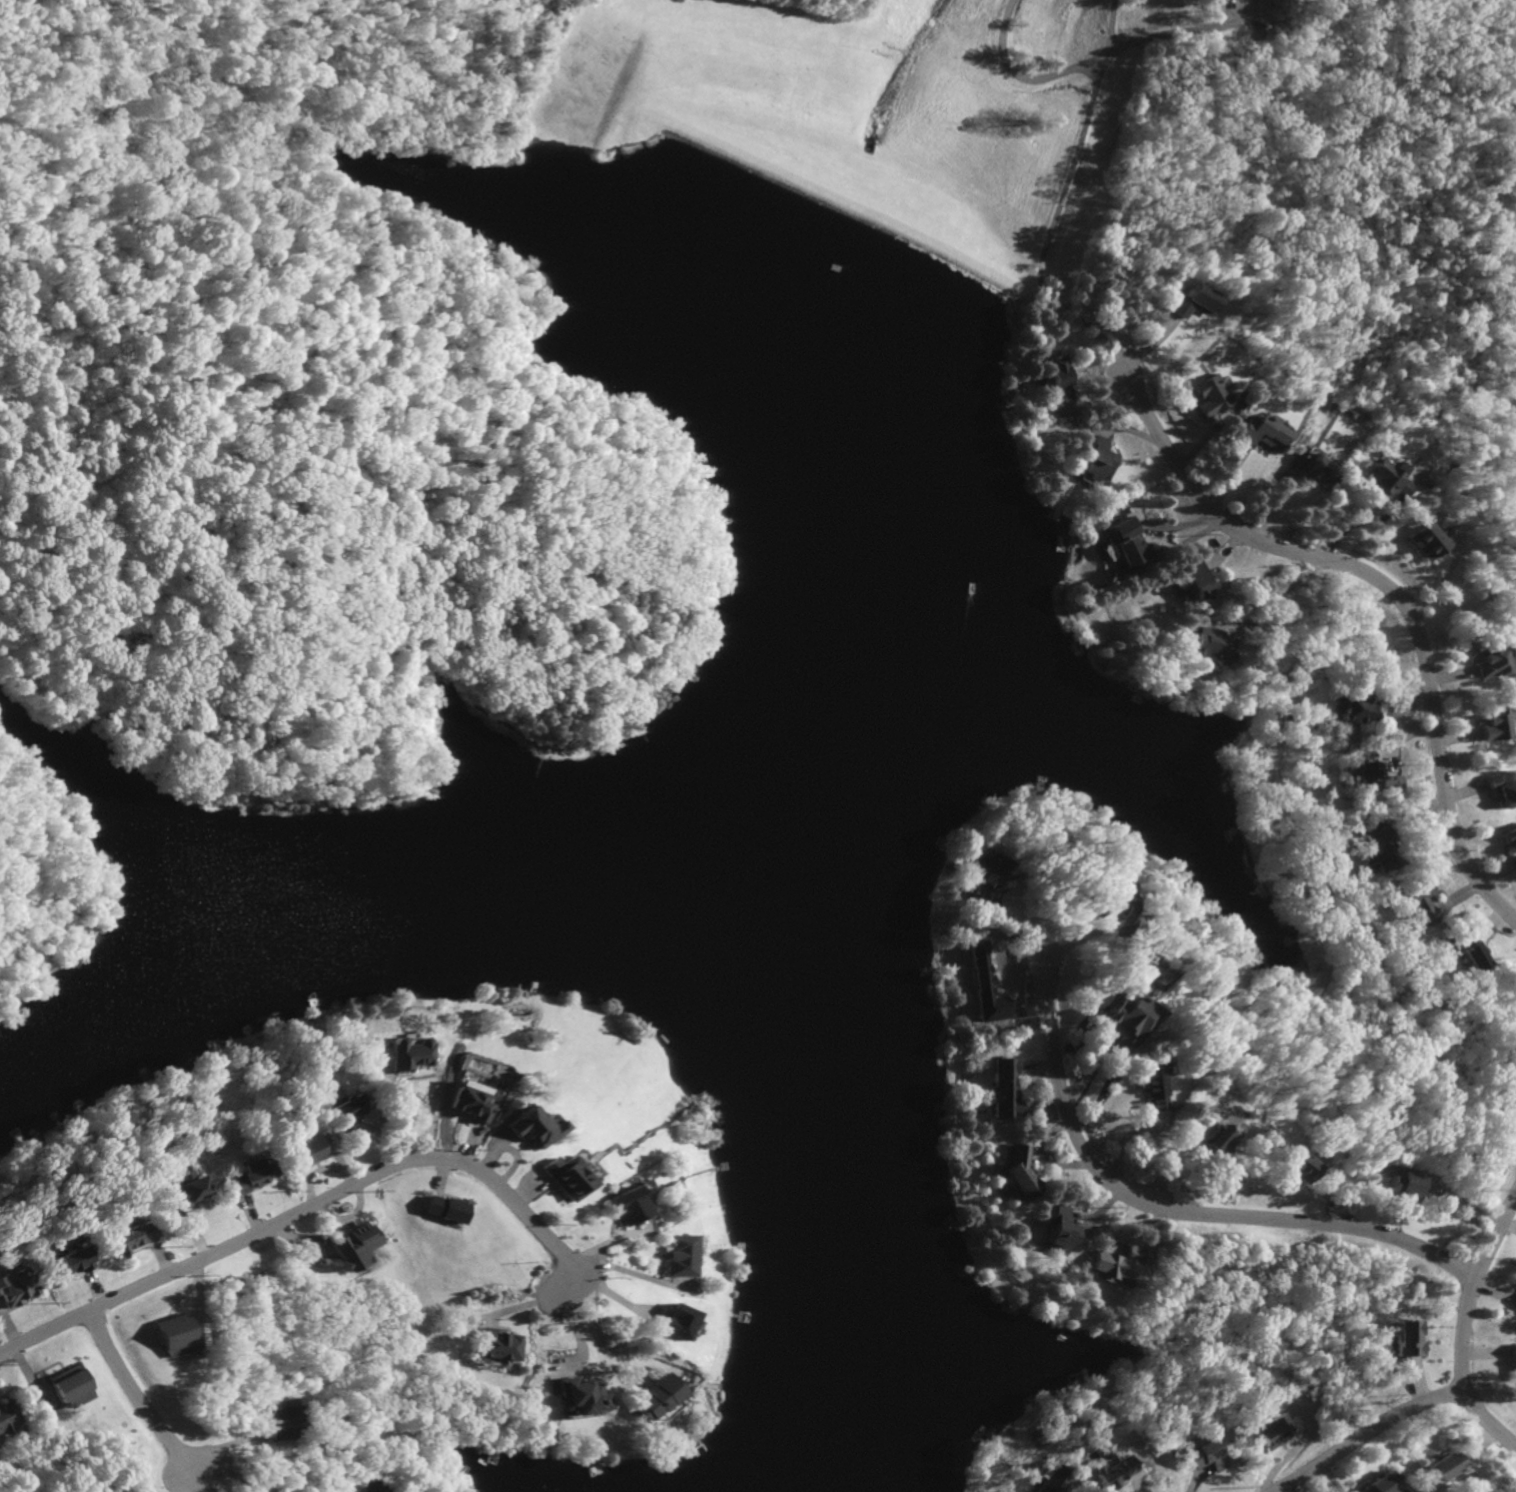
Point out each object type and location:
road: (1083, 65)
building: (1192, 302)
building: (1054, 377)
building: (1208, 396)
building: (1095, 460)
building: (1312, 470)
building: (1385, 479)
building: (1424, 540)
building: (1122, 541)
building: (1191, 578)
road: (1391, 591)
road: (1276, 593)
building: (1200, 645)
building: (1486, 659)
building: (1353, 708)
building: (1485, 724)
building: (1371, 778)
building: (1498, 789)
building: (1509, 843)
building: (1379, 851)
building: (985, 880)
building: (1103, 900)
building: (1415, 902)
building: (1465, 950)
building: (984, 986)
building: (1122, 1022)
building: (408, 1054)
building: (1005, 1088)
building: (1145, 1088)
building: (466, 1101)
road: (426, 1107)
building: (344, 1112)
building: (526, 1127)
building: (1206, 1139)
building: (301, 1150)
building: (1296, 1167)
building: (561, 1177)
building: (243, 1179)
building: (1400, 1185)
building: (182, 1190)
building: (618, 1205)
road: (299, 1208)
building: (439, 1209)
road: (1176, 1212)
building: (1057, 1230)
building: (129, 1237)
building: (345, 1246)
building: (670, 1256)
building: (70, 1260)
building: (1114, 1263)
building: (10, 1289)
building: (1513, 1303)
road: (532, 1308)
building: (667, 1322)
road: (569, 1324)
road: (591, 1324)
road: (1462, 1328)
building: (168, 1336)
building: (1404, 1338)
building: (493, 1346)
building: (1510, 1359)
building: (65, 1388)
road: (133, 1392)
building: (576, 1397)
building: (650, 1398)
building: (4, 1416)
building: (275, 1420)
building: (1273, 1431)
road: (1363, 1434)
building: (1201, 1455)
building: (1436, 1466)
building: (1111, 1469)
road: (229, 1472)
building: (1052, 1480)
building: (1375, 1485)
building: (365, 1487)

